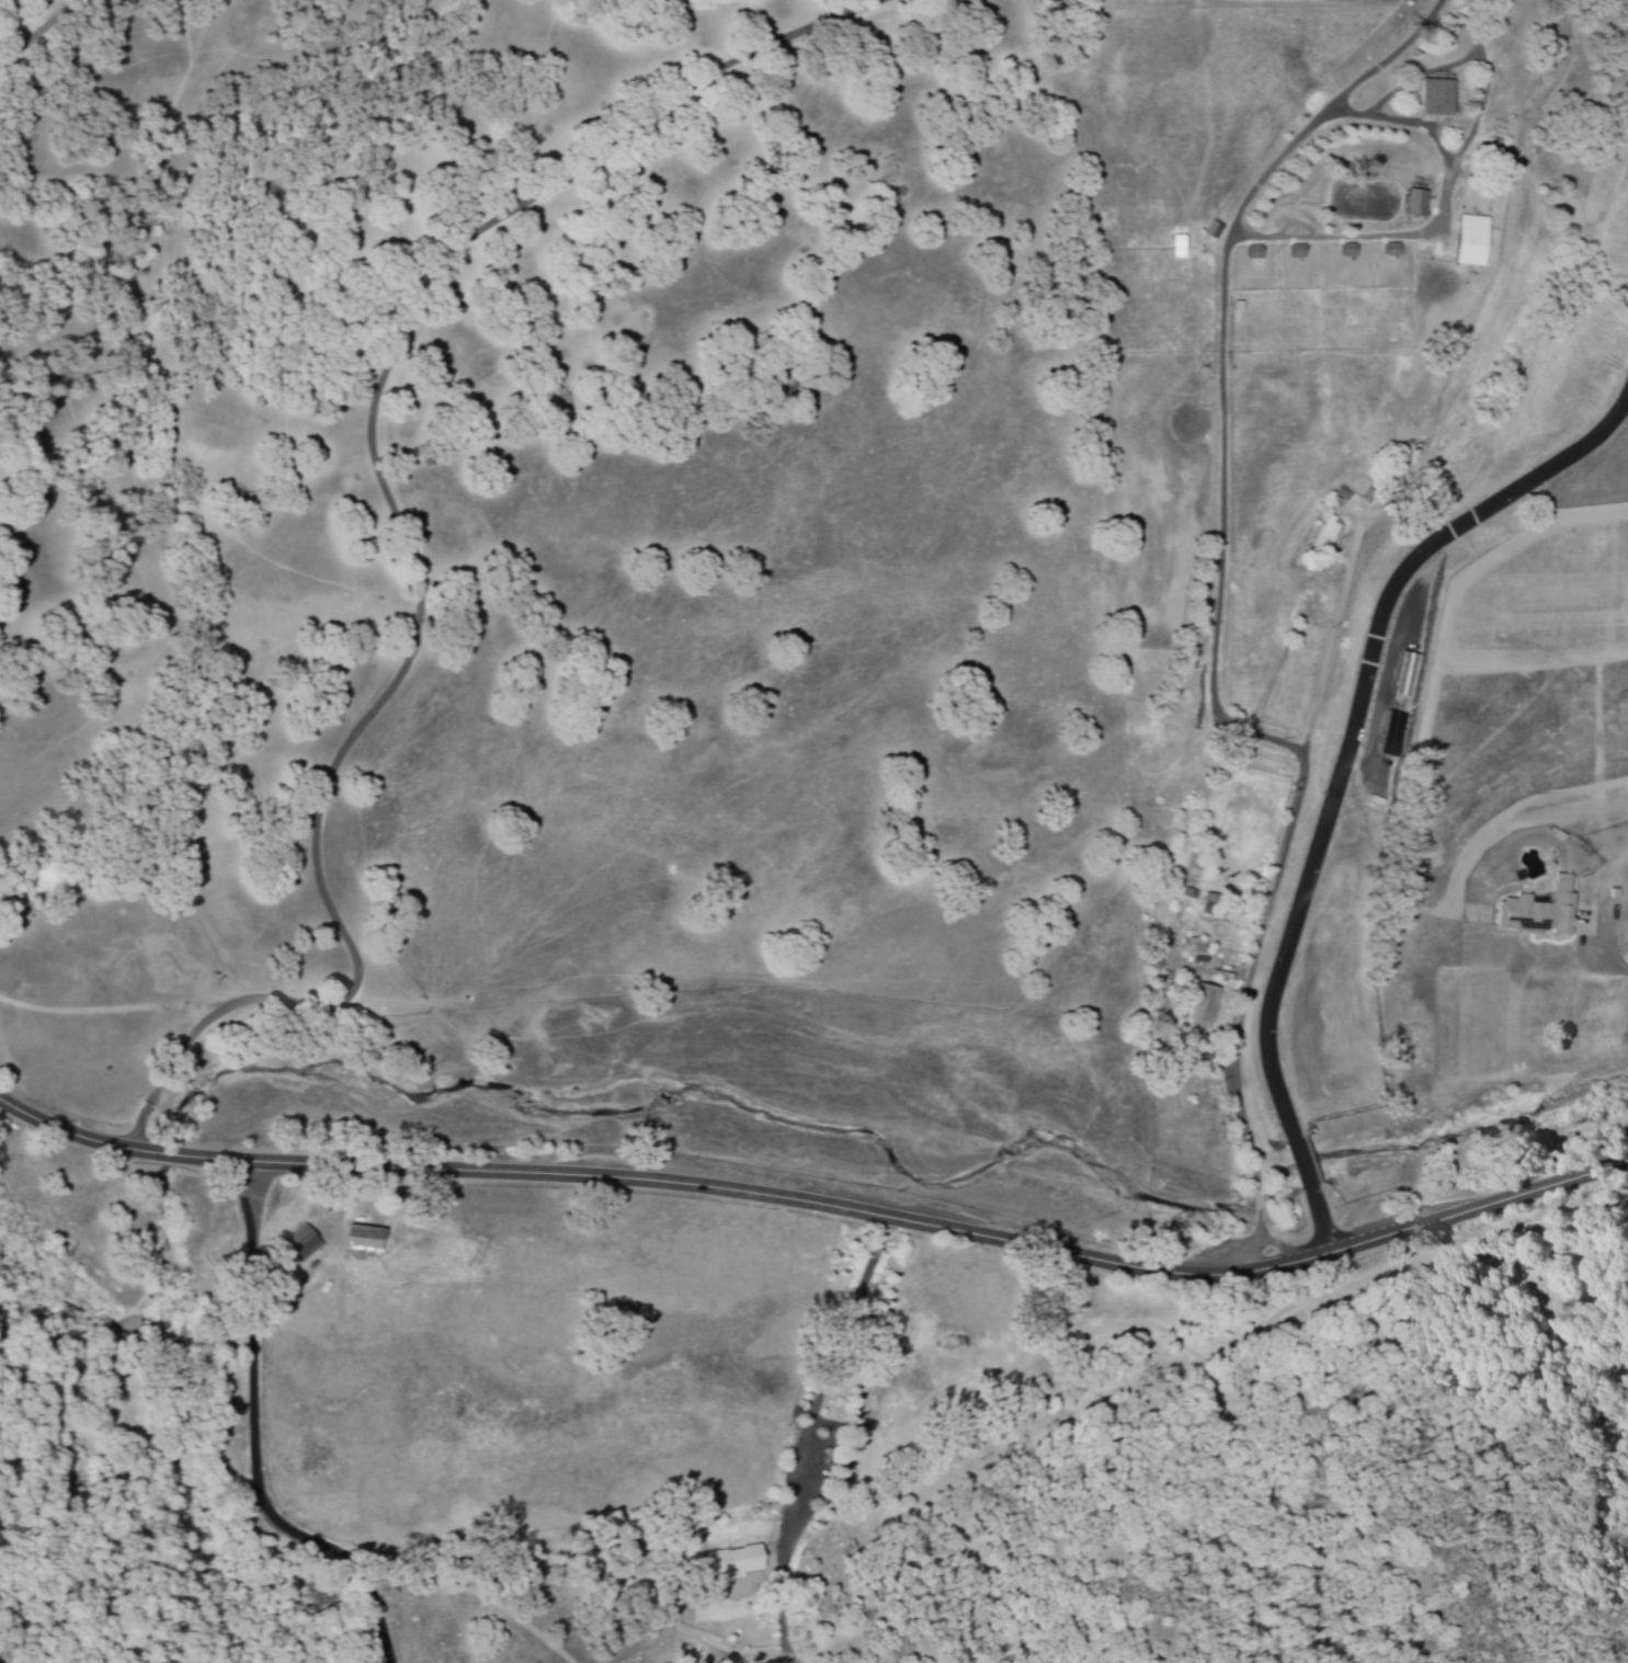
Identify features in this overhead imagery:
road: (42, 34)
road: (1479, 59)
building: (1434, 99)
road: (1421, 129)
building: (1416, 204)
building: (1213, 231)
building: (1470, 242)
building: (1177, 249)
building: (1391, 251)
building: (1297, 253)
building: (1254, 254)
road: (1225, 378)
road: (400, 529)
building: (1325, 533)
road: (1334, 638)
building: (1405, 676)
building: (1392, 736)
road: (1343, 781)
building: (1538, 913)
building: (1203, 1010)
road: (1240, 1013)
road: (819, 1207)
building: (305, 1244)
building: (367, 1246)
road: (826, 1378)
road: (259, 1444)
building: (741, 1562)

